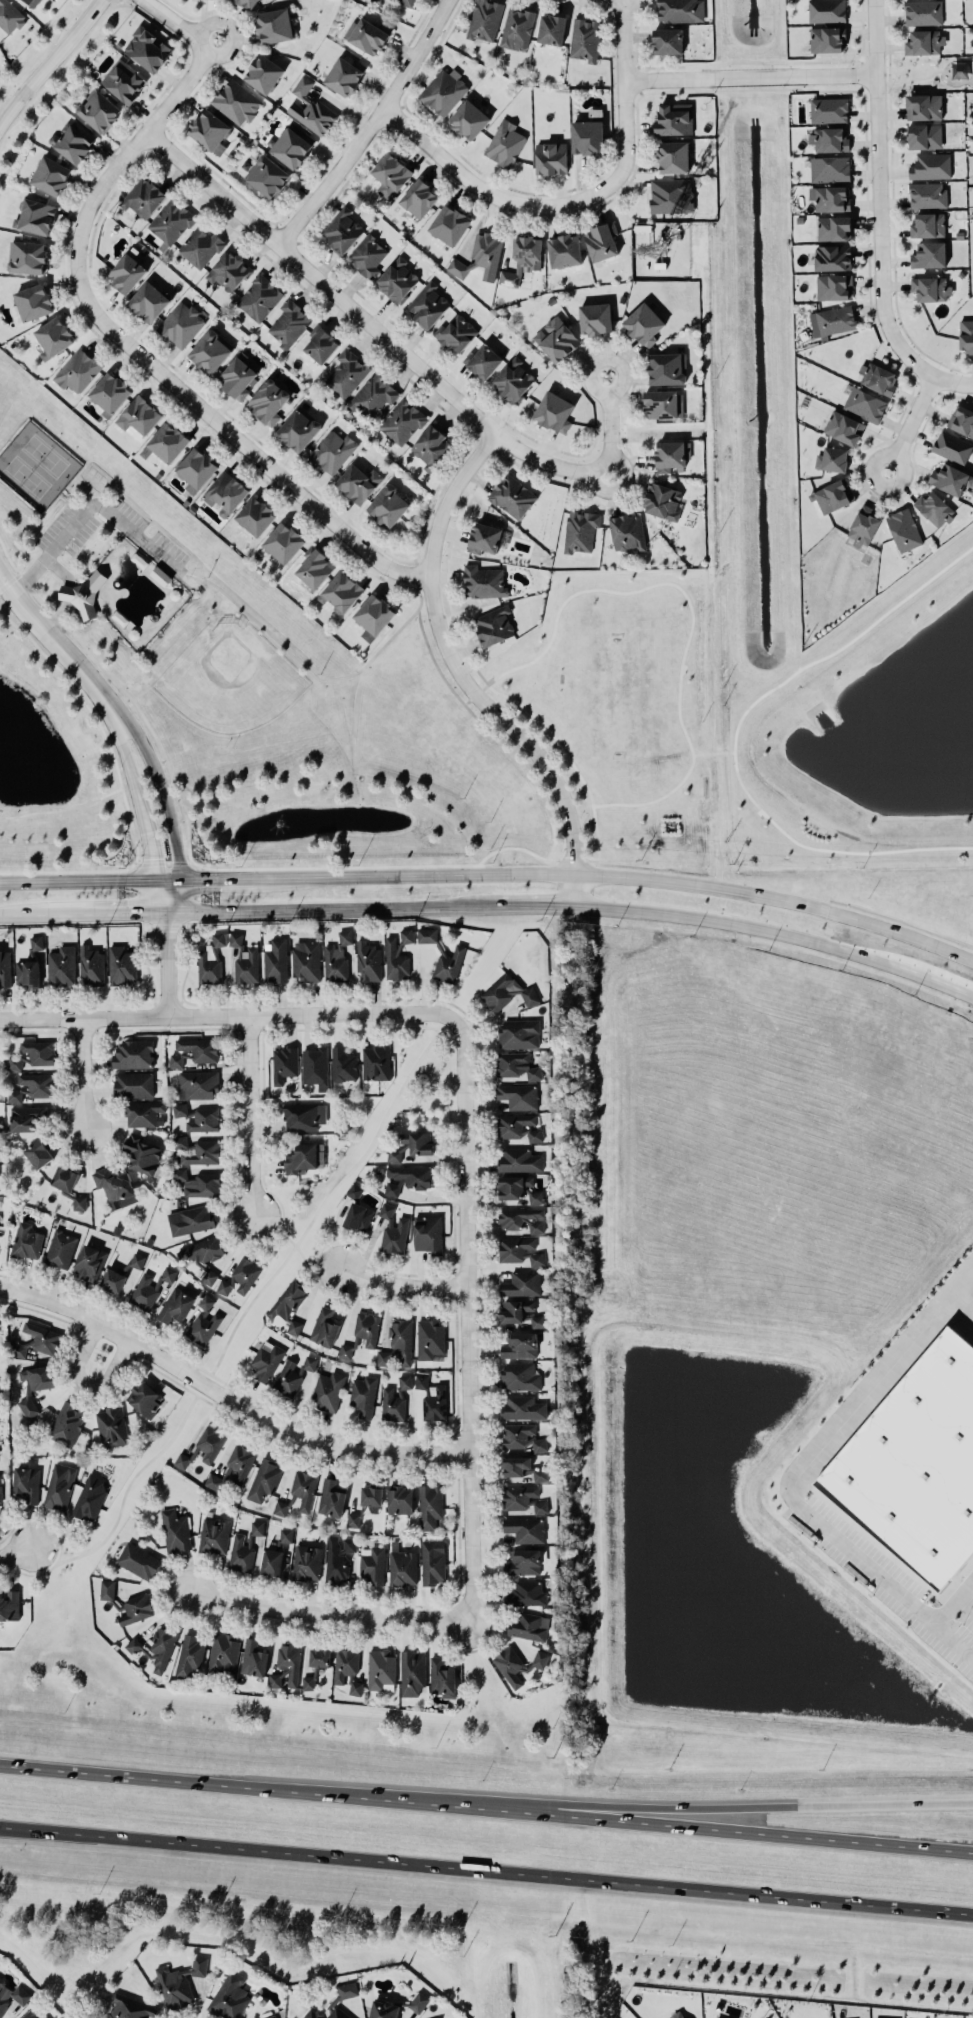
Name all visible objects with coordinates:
building: (30, 1)
building: (406, 2)
building: (246, 3)
building: (680, 10)
building: (826, 10)
building: (923, 12)
building: (10, 16)
road: (174, 19)
building: (485, 19)
building: (274, 25)
building: (517, 27)
building: (551, 28)
road: (235, 31)
building: (369, 35)
building: (585, 39)
building: (827, 39)
building: (668, 40)
building: (924, 42)
building: (147, 49)
road: (49, 61)
road: (59, 70)
park: (929, 71)
building: (264, 73)
building: (345, 73)
road: (750, 76)
road: (909, 78)
building: (124, 80)
building: (444, 91)
road: (626, 95)
building: (236, 101)
building: (923, 106)
building: (310, 108)
building: (829, 109)
building: (99, 110)
building: (674, 118)
building: (469, 119)
road: (371, 126)
building: (210, 130)
building: (587, 136)
building: (924, 136)
building: (828, 139)
building: (72, 140)
road: (138, 142)
building: (505, 143)
building: (292, 145)
building: (673, 156)
building: (551, 157)
building: (930, 166)
building: (829, 168)
building: (390, 174)
building: (51, 175)
building: (268, 176)
road: (490, 189)
building: (669, 194)
building: (927, 194)
building: (143, 197)
building: (419, 198)
building: (832, 198)
road: (878, 198)
building: (35, 216)
building: (171, 220)
building: (449, 224)
building: (928, 224)
building: (833, 227)
building: (342, 230)
building: (601, 241)
building: (200, 246)
building: (564, 250)
building: (928, 254)
building: (367, 255)
building: (27, 256)
building: (480, 256)
building: (832, 257)
building: (522, 258)
building: (228, 270)
building: (127, 272)
building: (397, 279)
building: (834, 286)
building: (930, 288)
building: (259, 297)
building: (33, 301)
building: (148, 301)
building: (428, 305)
building: (595, 318)
building: (832, 320)
building: (289, 322)
building: (181, 323)
building: (644, 324)
building: (456, 333)
building: (966, 335)
building: (53, 337)
building: (556, 338)
building: (321, 343)
building: (210, 351)
road: (406, 356)
building: (483, 361)
building: (666, 368)
building: (78, 370)
building: (346, 373)
building: (237, 375)
building: (878, 377)
building: (513, 379)
road: (953, 380)
building: (110, 391)
building: (374, 394)
building: (268, 401)
building: (664, 404)
building: (864, 404)
building: (554, 411)
building: (139, 415)
building: (962, 419)
building: (402, 421)
road: (912, 424)
building: (844, 427)
building: (299, 428)
road: (228, 430)
building: (168, 441)
building: (432, 446)
building: (952, 446)
building: (332, 451)
building: (671, 455)
building: (832, 459)
park: (35, 464)
building: (196, 468)
building: (950, 478)
building: (358, 482)
building: (225, 493)
building: (833, 495)
building: (512, 496)
road: (72, 497)
building: (662, 500)
road: (88, 505)
building: (388, 506)
building: (934, 508)
building: (256, 515)
building: (904, 529)
building: (580, 530)
building: (628, 532)
building: (486, 537)
building: (283, 542)
road: (81, 552)
building: (315, 566)
building: (160, 575)
road: (7, 578)
building: (483, 581)
road: (66, 589)
building: (341, 591)
building: (83, 594)
building: (374, 613)
building: (494, 625)
road: (49, 630)
park: (185, 654)
road: (314, 675)
road: (463, 677)
park: (226, 678)
road: (141, 713)
road: (109, 748)
road: (158, 774)
road: (137, 797)
road: (62, 808)
road: (429, 874)
road: (232, 877)
road: (166, 878)
road: (75, 879)
road: (173, 894)
road: (778, 899)
road: (526, 907)
road: (320, 909)
road: (112, 912)
road: (29, 913)
road: (779, 931)
building: (427, 934)
building: (235, 938)
building: (36, 942)
building: (397, 955)
building: (337, 956)
building: (210, 960)
building: (275, 960)
building: (305, 960)
building: (368, 961)
road: (167, 963)
building: (122, 964)
building: (449, 964)
building: (61, 965)
building: (92, 965)
building: (246, 965)
building: (5, 967)
building: (27, 972)
building: (506, 992)
road: (225, 1016)
building: (518, 1033)
building: (199, 1048)
building: (38, 1051)
building: (132, 1053)
building: (14, 1061)
building: (376, 1062)
building: (284, 1063)
building: (343, 1064)
building: (314, 1065)
building: (516, 1065)
road: (82, 1073)
building: (133, 1084)
building: (197, 1084)
building: (32, 1086)
building: (518, 1095)
building: (144, 1113)
road: (251, 1116)
building: (304, 1116)
building: (27, 1117)
building: (198, 1117)
building: (1, 1125)
building: (519, 1126)
building: (412, 1145)
building: (197, 1150)
building: (38, 1153)
building: (141, 1153)
building: (301, 1158)
building: (518, 1159)
building: (407, 1178)
building: (198, 1182)
building: (67, 1183)
building: (115, 1186)
building: (519, 1188)
building: (354, 1190)
road: (327, 1200)
building: (358, 1216)
building: (522, 1218)
building: (190, 1219)
road: (277, 1228)
building: (393, 1229)
building: (428, 1233)
building: (26, 1240)
building: (60, 1248)
building: (203, 1249)
building: (519, 1250)
building: (137, 1259)
building: (89, 1262)
road: (311, 1272)
building: (168, 1273)
building: (209, 1276)
building: (240, 1277)
building: (113, 1279)
building: (522, 1283)
road: (402, 1285)
building: (144, 1292)
building: (206, 1301)
building: (177, 1304)
building: (288, 1305)
building: (515, 1309)
road: (466, 1317)
building: (536, 1321)
building: (203, 1327)
building: (324, 1327)
building: (367, 1328)
building: (37, 1339)
building: (430, 1339)
building: (398, 1343)
building: (519, 1345)
building: (345, 1350)
building: (266, 1359)
building: (309, 1362)
building: (520, 1376)
building: (287, 1378)
road: (88, 1382)
building: (404, 1382)
building: (35, 1384)
building: (327, 1390)
building: (363, 1395)
road: (226, 1396)
building: (432, 1397)
building: (145, 1398)
building: (392, 1405)
building: (523, 1407)
building: (66, 1423)
building: (111, 1426)
building: (522, 1436)
building: (203, 1447)
road: (816, 1454)
building: (523, 1467)
building: (917, 1468)
building: (233, 1469)
building: (264, 1479)
building: (27, 1483)
building: (59, 1486)
building: (304, 1488)
building: (0, 1491)
road: (125, 1491)
building: (90, 1497)
building: (372, 1497)
building: (331, 1498)
building: (523, 1498)
building: (400, 1499)
building: (429, 1505)
building: (281, 1508)
building: (353, 1518)
building: (257, 1527)
building: (525, 1529)
building: (175, 1530)
building: (286, 1534)
building: (214, 1535)
road: (16, 1553)
building: (241, 1553)
building: (338, 1557)
building: (139, 1560)
building: (271, 1561)
building: (307, 1561)
building: (433, 1561)
building: (523, 1561)
building: (373, 1566)
building: (402, 1567)
building: (107, 1588)
building: (526, 1593)
building: (9, 1605)
building: (134, 1610)
road: (330, 1614)
road: (936, 1618)
building: (528, 1625)
building: (133, 1644)
building: (161, 1648)
building: (223, 1653)
building: (189, 1656)
building: (253, 1657)
building: (319, 1657)
building: (518, 1663)
building: (286, 1665)
building: (347, 1669)
building: (381, 1669)
building: (412, 1671)
building: (442, 1677)
building: (309, 1682)
road: (248, 1783)
road: (735, 1804)
road: (735, 1826)
road: (486, 1869)
building: (179, 1982)
building: (12, 1995)
building: (229, 1996)
building: (334, 2001)
building: (398, 2006)
building: (130, 2007)
building: (34, 2013)
building: (676, 2013)
building: (270, 2016)
building: (724, 2016)
building: (847, 2017)

